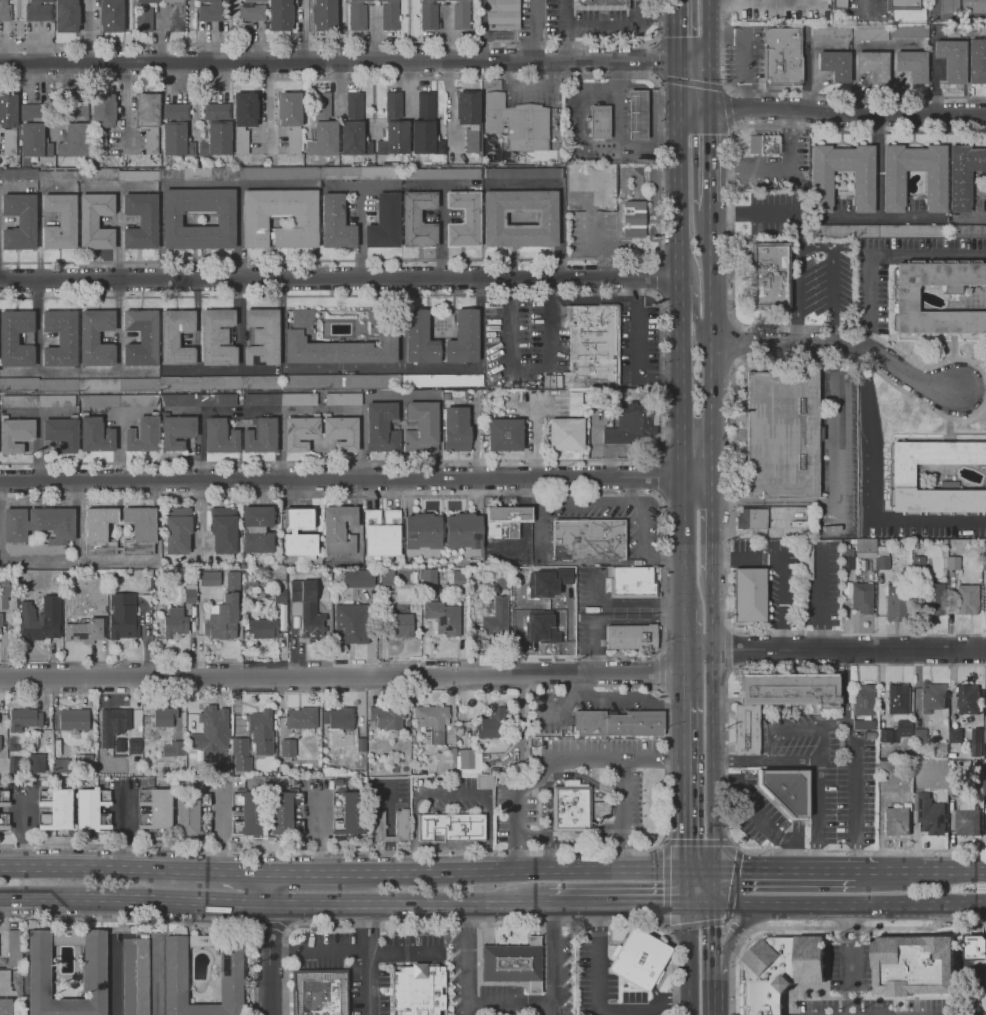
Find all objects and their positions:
building: (449, 0)
building: (360, 1)
building: (387, 1)
road: (862, 1)
building: (251, 2)
building: (839, 4)
building: (601, 5)
building: (903, 5)
building: (963, 7)
building: (5, 11)
building: (38, 11)
building: (211, 11)
building: (252, 13)
building: (428, 14)
building: (111, 15)
building: (144, 15)
building: (176, 15)
building: (280, 15)
building: (325, 15)
building: (461, 15)
building: (503, 15)
building: (67, 16)
building: (357, 16)
building: (390, 16)
road: (625, 27)
road: (530, 29)
road: (680, 29)
road: (565, 30)
building: (983, 30)
building: (831, 32)
building: (909, 32)
building: (870, 33)
traffic signals: (680, 37)
road: (348, 44)
road: (712, 54)
building: (783, 56)
traffic signals: (652, 59)
road: (654, 59)
road: (340, 60)
building: (951, 60)
building: (977, 62)
building: (835, 65)
building: (874, 66)
building: (912, 66)
road: (696, 83)
road: (527, 90)
road: (811, 92)
building: (393, 105)
building: (323, 106)
building: (354, 106)
building: (426, 106)
road: (739, 108)
building: (246, 109)
traffic signals: (732, 109)
building: (148, 110)
building: (217, 111)
building: (33, 112)
building: (75, 112)
building: (176, 112)
road: (849, 113)
building: (637, 115)
building: (291, 118)
building: (102, 119)
building: (468, 119)
building: (599, 122)
building: (8, 123)
building: (516, 123)
road: (862, 132)
traffic signals: (713, 135)
building: (394, 138)
building: (425, 138)
building: (323, 139)
building: (354, 139)
building: (176, 140)
building: (216, 140)
building: (241, 140)
building: (34, 141)
building: (74, 141)
building: (151, 141)
building: (764, 144)
road: (713, 159)
road: (780, 163)
road: (659, 168)
building: (279, 173)
building: (361, 173)
building: (523, 173)
building: (37, 174)
building: (198, 174)
building: (439, 174)
building: (116, 175)
building: (963, 175)
building: (821, 188)
building: (893, 188)
road: (768, 214)
building: (418, 219)
building: (464, 219)
building: (494, 219)
building: (633, 219)
building: (225, 220)
building: (20, 221)
building: (96, 221)
building: (141, 221)
building: (60, 222)
building: (305, 223)
building: (336, 223)
building: (385, 223)
building: (844, 231)
building: (912, 231)
building: (967, 231)
road: (681, 269)
road: (655, 275)
building: (769, 275)
road: (340, 278)
road: (830, 278)
road: (797, 294)
building: (904, 298)
road: (696, 309)
road: (401, 322)
road: (772, 326)
building: (176, 337)
building: (217, 337)
building: (262, 337)
building: (59, 338)
building: (96, 338)
building: (141, 338)
building: (419, 338)
building: (464, 338)
building: (16, 339)
road: (843, 341)
building: (338, 342)
road: (712, 343)
building: (592, 346)
road: (636, 352)
road: (481, 361)
road: (298, 366)
road: (661, 376)
building: (443, 380)
building: (552, 380)
building: (341, 381)
building: (142, 383)
road: (868, 385)
road: (974, 390)
building: (459, 393)
building: (629, 393)
building: (446, 396)
building: (281, 399)
building: (344, 399)
building: (99, 400)
building: (138, 400)
building: (180, 400)
building: (218, 400)
building: (37, 401)
building: (575, 403)
road: (38, 411)
building: (631, 426)
building: (382, 427)
building: (421, 427)
building: (456, 429)
building: (176, 431)
building: (300, 432)
building: (341, 432)
building: (14, 434)
building: (62, 434)
building: (95, 434)
building: (143, 434)
building: (567, 434)
building: (505, 435)
building: (782, 435)
building: (220, 436)
building: (260, 436)
road: (38, 445)
building: (902, 473)
road: (837, 474)
road: (658, 476)
road: (356, 480)
road: (735, 484)
road: (631, 489)
road: (447, 495)
road: (524, 496)
road: (583, 500)
road: (736, 501)
building: (257, 516)
building: (299, 518)
building: (752, 518)
building: (506, 520)
road: (536, 526)
road: (712, 528)
building: (339, 529)
building: (95, 530)
building: (178, 530)
building: (224, 530)
building: (255, 530)
building: (15, 532)
building: (382, 533)
building: (792, 533)
building: (422, 536)
building: (463, 536)
building: (590, 538)
road: (646, 541)
building: (258, 543)
road: (685, 543)
building: (301, 545)
building: (865, 547)
building: (882, 557)
building: (803, 560)
building: (951, 561)
road: (784, 568)
building: (386, 576)
building: (456, 577)
building: (210, 578)
building: (357, 578)
building: (428, 578)
building: (633, 580)
building: (549, 581)
building: (279, 592)
building: (4, 594)
building: (751, 594)
building: (190, 596)
building: (860, 597)
road: (821, 598)
building: (931, 598)
building: (966, 599)
building: (53, 601)
road: (624, 602)
building: (892, 603)
building: (305, 607)
building: (226, 610)
road: (713, 613)
building: (124, 616)
building: (494, 616)
building: (443, 617)
building: (33, 619)
road: (665, 621)
building: (0, 622)
building: (175, 622)
road: (595, 622)
building: (349, 623)
building: (401, 625)
building: (541, 627)
building: (96, 628)
road: (684, 629)
building: (263, 630)
building: (75, 631)
building: (630, 636)
road: (699, 650)
road: (850, 650)
road: (868, 665)
road: (342, 676)
road: (684, 676)
road: (846, 685)
building: (790, 689)
building: (931, 696)
road: (620, 697)
building: (897, 698)
building: (967, 698)
building: (863, 706)
road: (557, 712)
building: (163, 716)
building: (300, 717)
building: (337, 717)
building: (385, 717)
building: (23, 719)
building: (73, 720)
building: (430, 721)
building: (617, 723)
road: (833, 723)
building: (112, 724)
building: (490, 724)
road: (786, 727)
building: (902, 727)
building: (210, 729)
building: (748, 729)
building: (260, 732)
building: (883, 734)
building: (954, 734)
road: (684, 735)
building: (984, 735)
building: (975, 741)
building: (134, 745)
road: (823, 745)
building: (0, 746)
building: (286, 747)
building: (172, 748)
building: (240, 753)
road: (764, 756)
road: (618, 758)
building: (445, 761)
building: (469, 761)
road: (715, 761)
building: (35, 763)
building: (59, 765)
road: (817, 766)
road: (533, 774)
road: (557, 774)
building: (984, 787)
building: (786, 789)
road: (451, 793)
road: (856, 793)
building: (3, 797)
building: (574, 806)
building: (55, 808)
building: (154, 808)
building: (91, 809)
building: (250, 813)
building: (280, 813)
building: (347, 813)
road: (621, 814)
building: (929, 814)
building: (186, 816)
building: (966, 817)
building: (3, 821)
road: (686, 821)
road: (760, 821)
building: (896, 821)
building: (400, 822)
road: (388, 827)
building: (452, 827)
road: (516, 830)
road: (413, 833)
road: (488, 833)
road: (532, 836)
road: (318, 837)
traffic signals: (687, 839)
road: (548, 853)
road: (98, 868)
road: (529, 870)
traffic signals: (738, 872)
road: (797, 872)
road: (932, 872)
road: (232, 873)
road: (306, 874)
road: (268, 889)
road: (688, 889)
road: (715, 889)
road: (134, 898)
road: (408, 905)
road: (575, 906)
road: (645, 906)
traffic signals: (668, 906)
road: (701, 906)
traffic signals: (715, 906)
road: (850, 908)
road: (714, 927)
road: (735, 933)
building: (13, 947)
building: (975, 947)
road: (354, 950)
building: (638, 958)
road: (269, 959)
road: (369, 959)
road: (466, 960)
road: (554, 960)
road: (688, 960)
road: (713, 960)
road: (848, 961)
building: (38, 963)
building: (513, 963)
building: (913, 965)
building: (777, 972)
building: (173, 974)
building: (3, 975)
building: (134, 976)
building: (417, 990)
building: (318, 992)
road: (712, 993)
road: (511, 1002)
building: (5, 1006)
road: (598, 1006)

